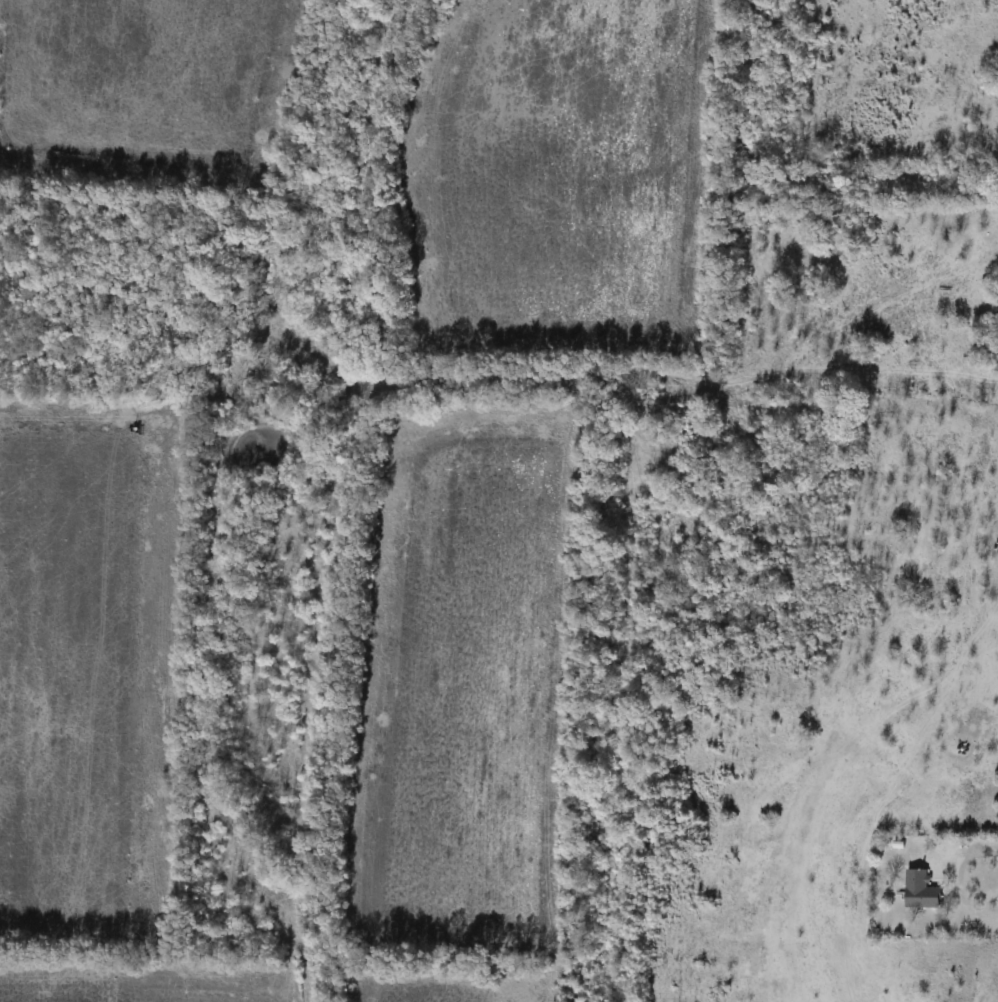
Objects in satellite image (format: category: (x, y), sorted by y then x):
road: (961, 881)
building: (918, 890)

